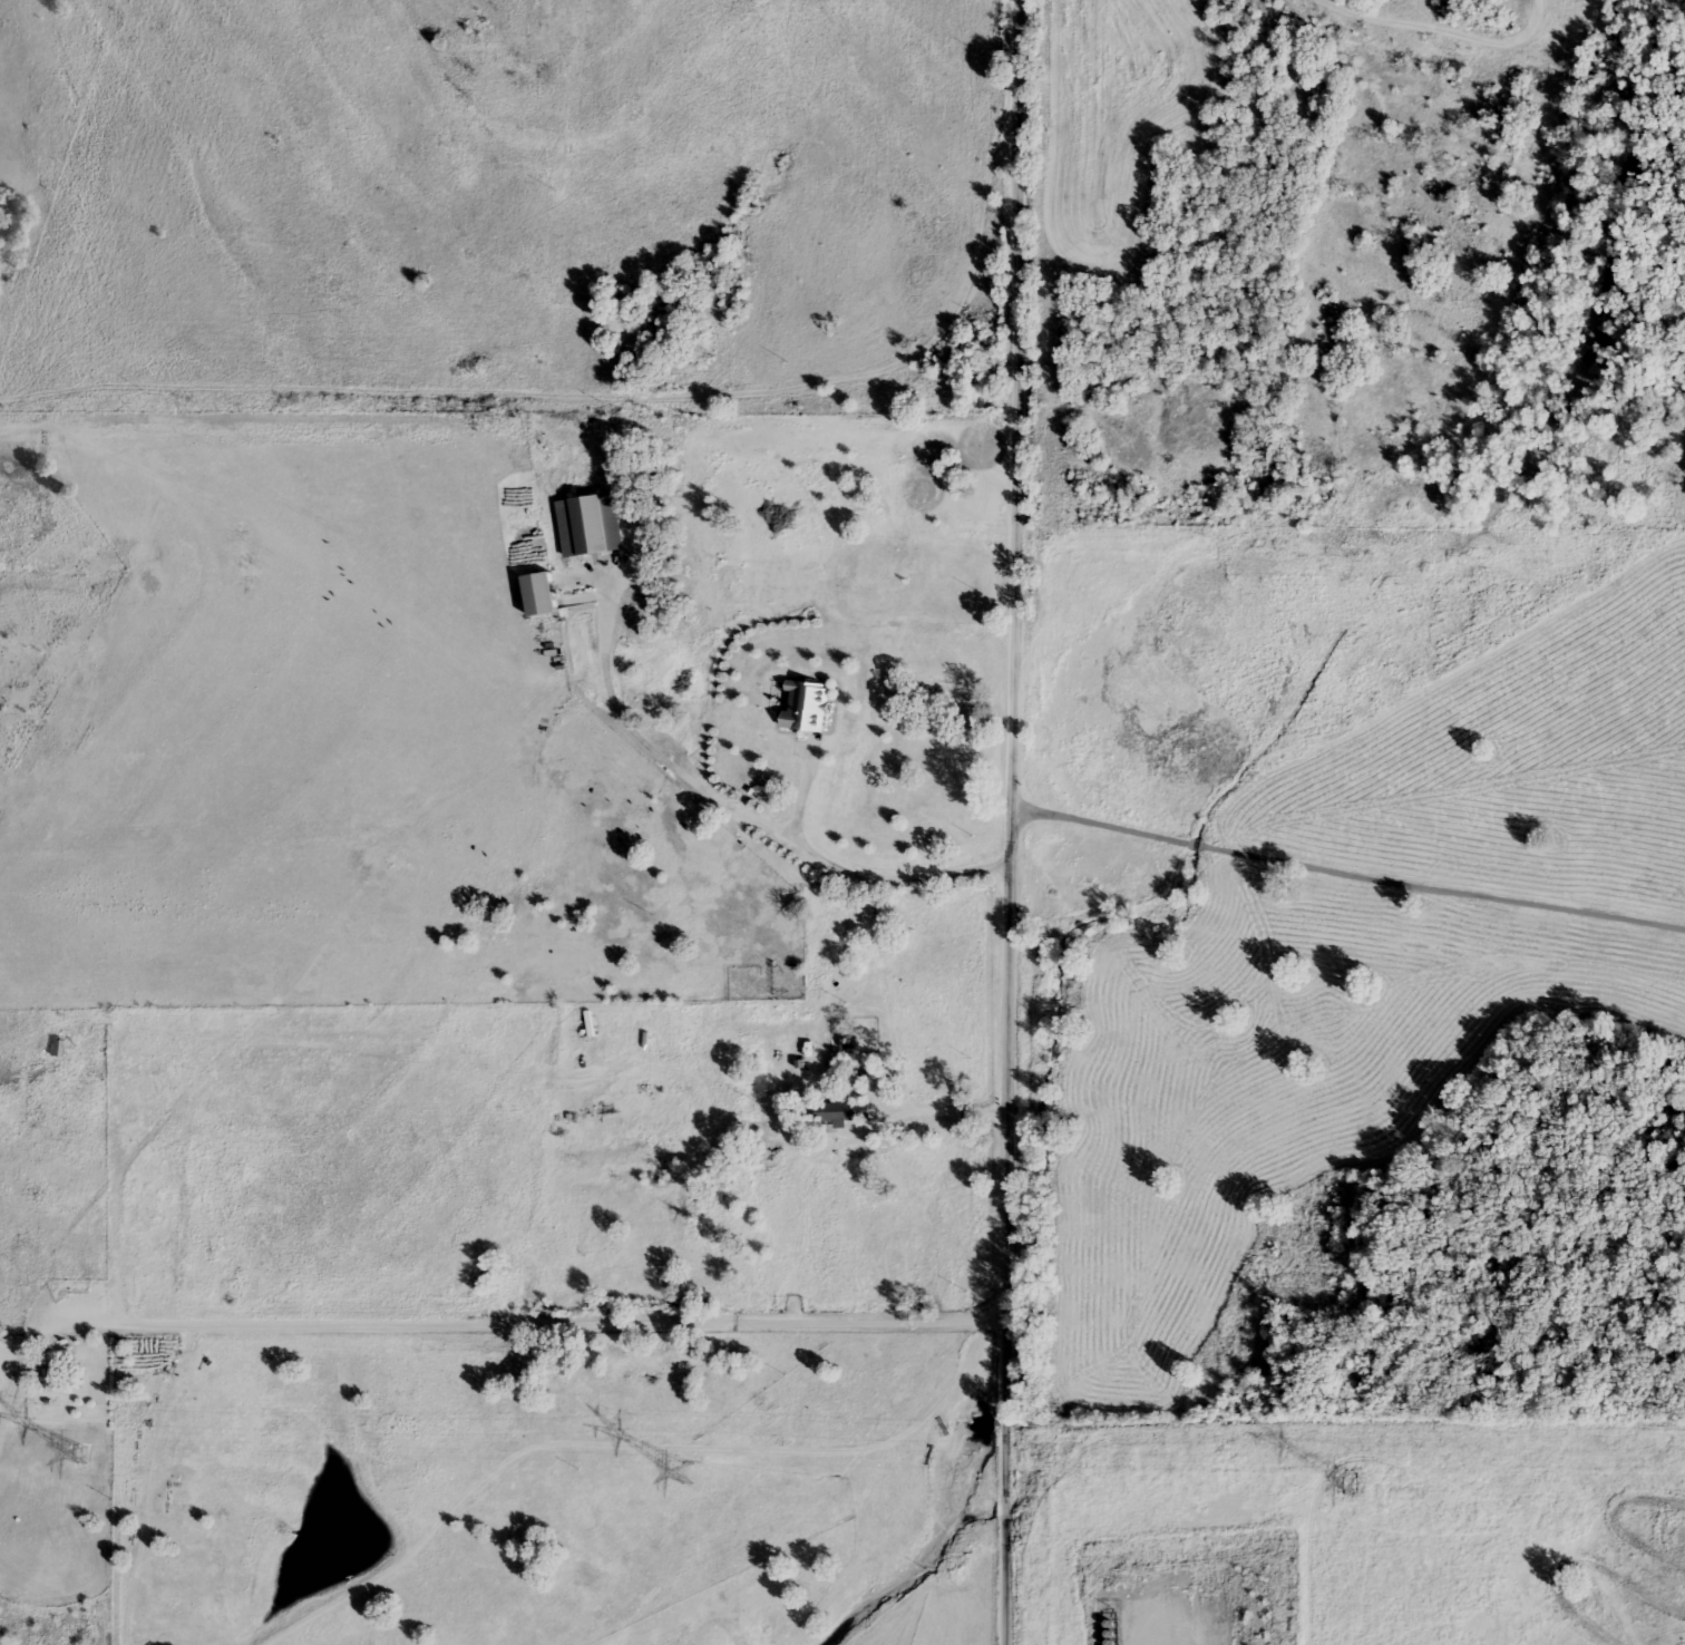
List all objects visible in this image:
road: (506, 418)
building: (590, 523)
building: (945, 766)
road: (1009, 822)
road: (1346, 868)
road: (894, 875)
building: (876, 982)
building: (842, 1110)
road: (474, 1327)
building: (50, 1378)
power tower: (84, 1452)
power tower: (689, 1471)
power tower: (1351, 1479)

